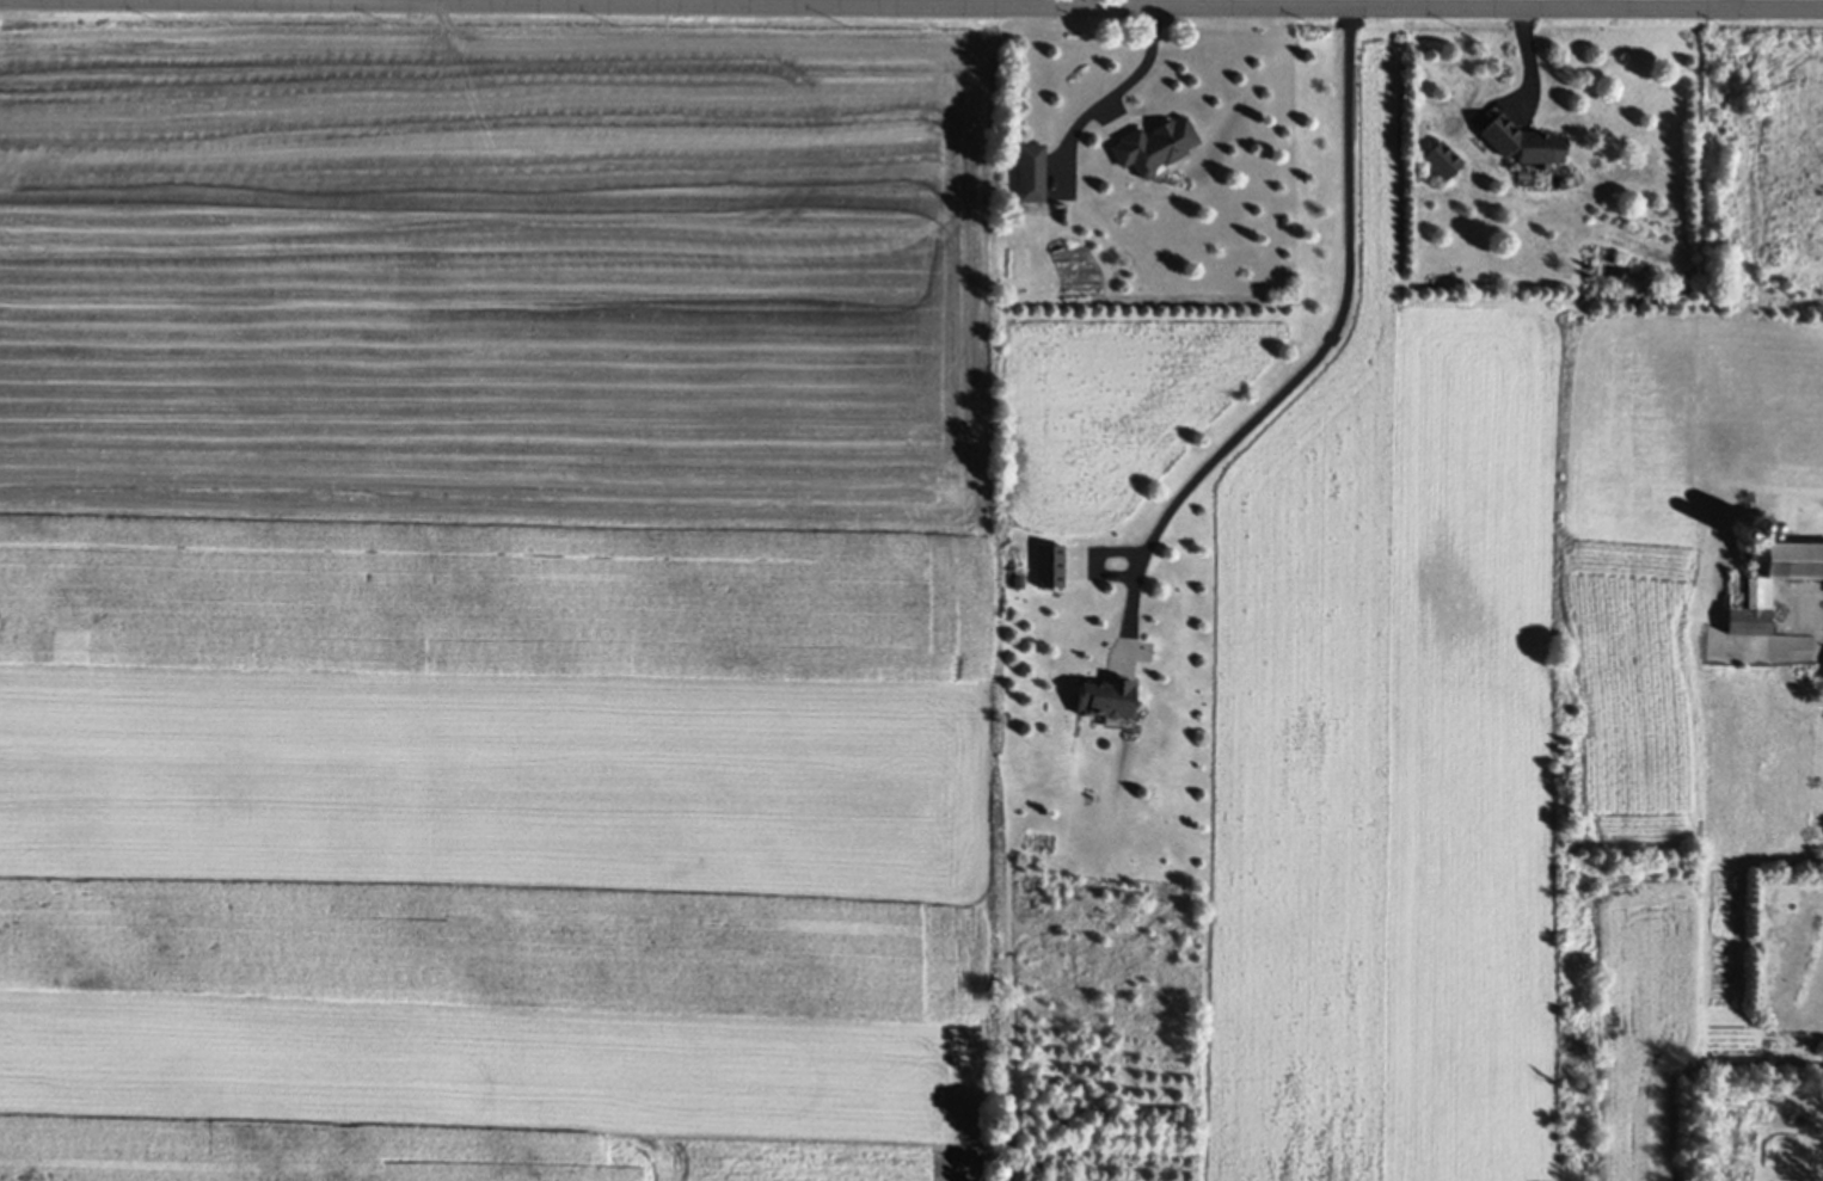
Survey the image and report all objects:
road: (910, 10)
road: (1109, 97)
building: (1520, 147)
building: (1149, 150)
building: (1440, 165)
building: (1027, 177)
road: (1314, 362)
building: (1044, 570)
building: (1753, 598)
building: (1099, 702)

